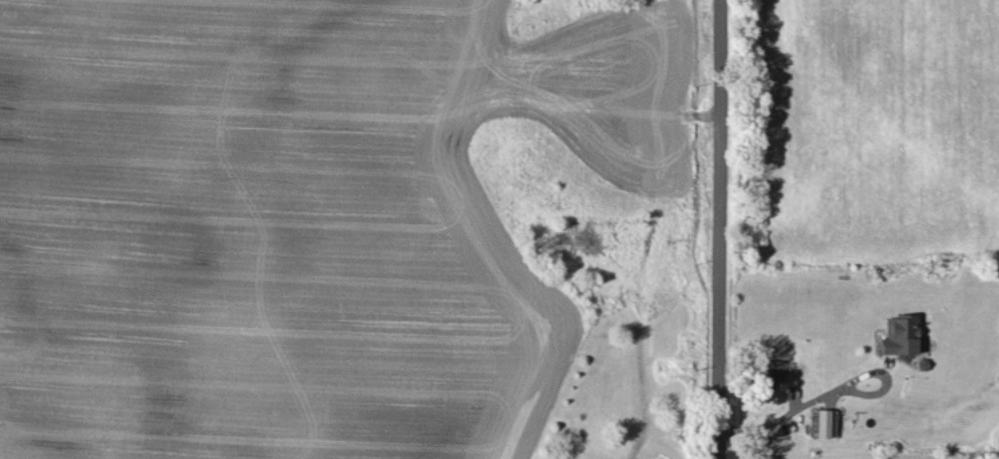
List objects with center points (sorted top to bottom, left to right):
road: (714, 229)
building: (899, 334)
building: (772, 372)
road: (825, 393)
building: (822, 423)
road: (659, 445)

